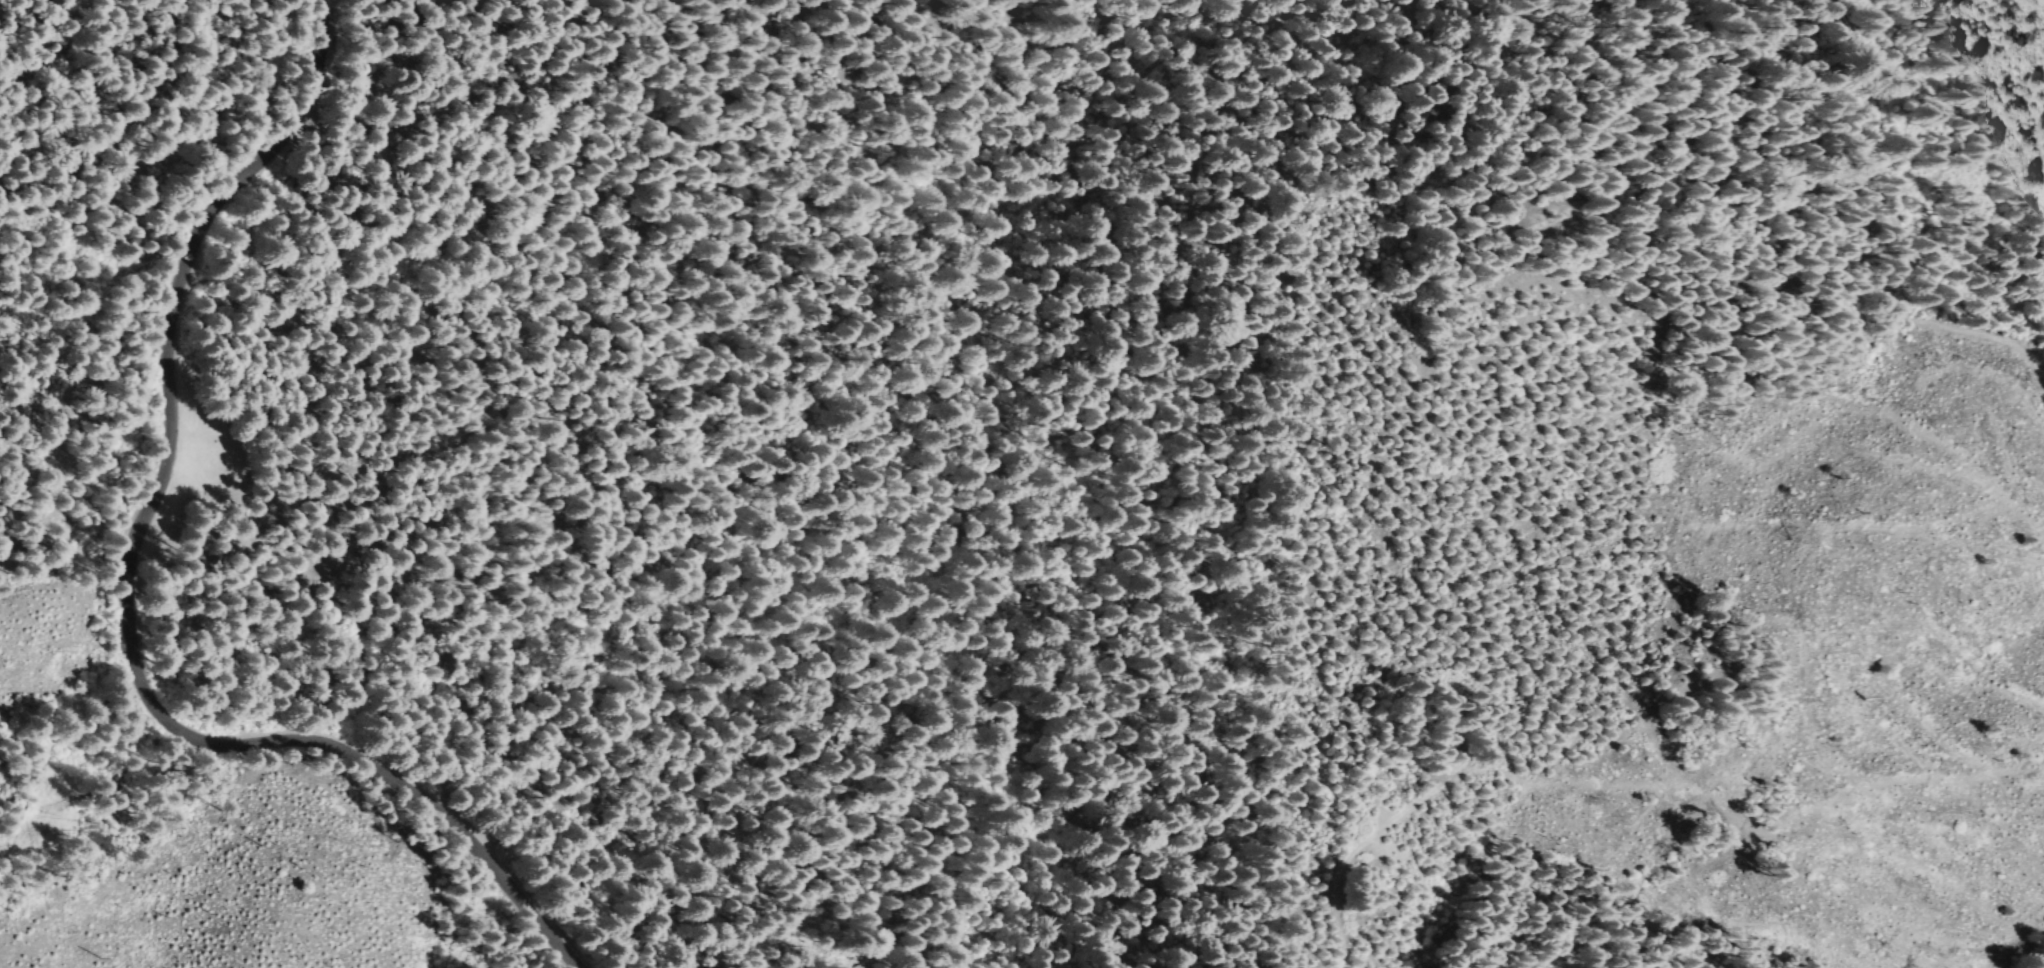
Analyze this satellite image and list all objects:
road: (137, 592)

